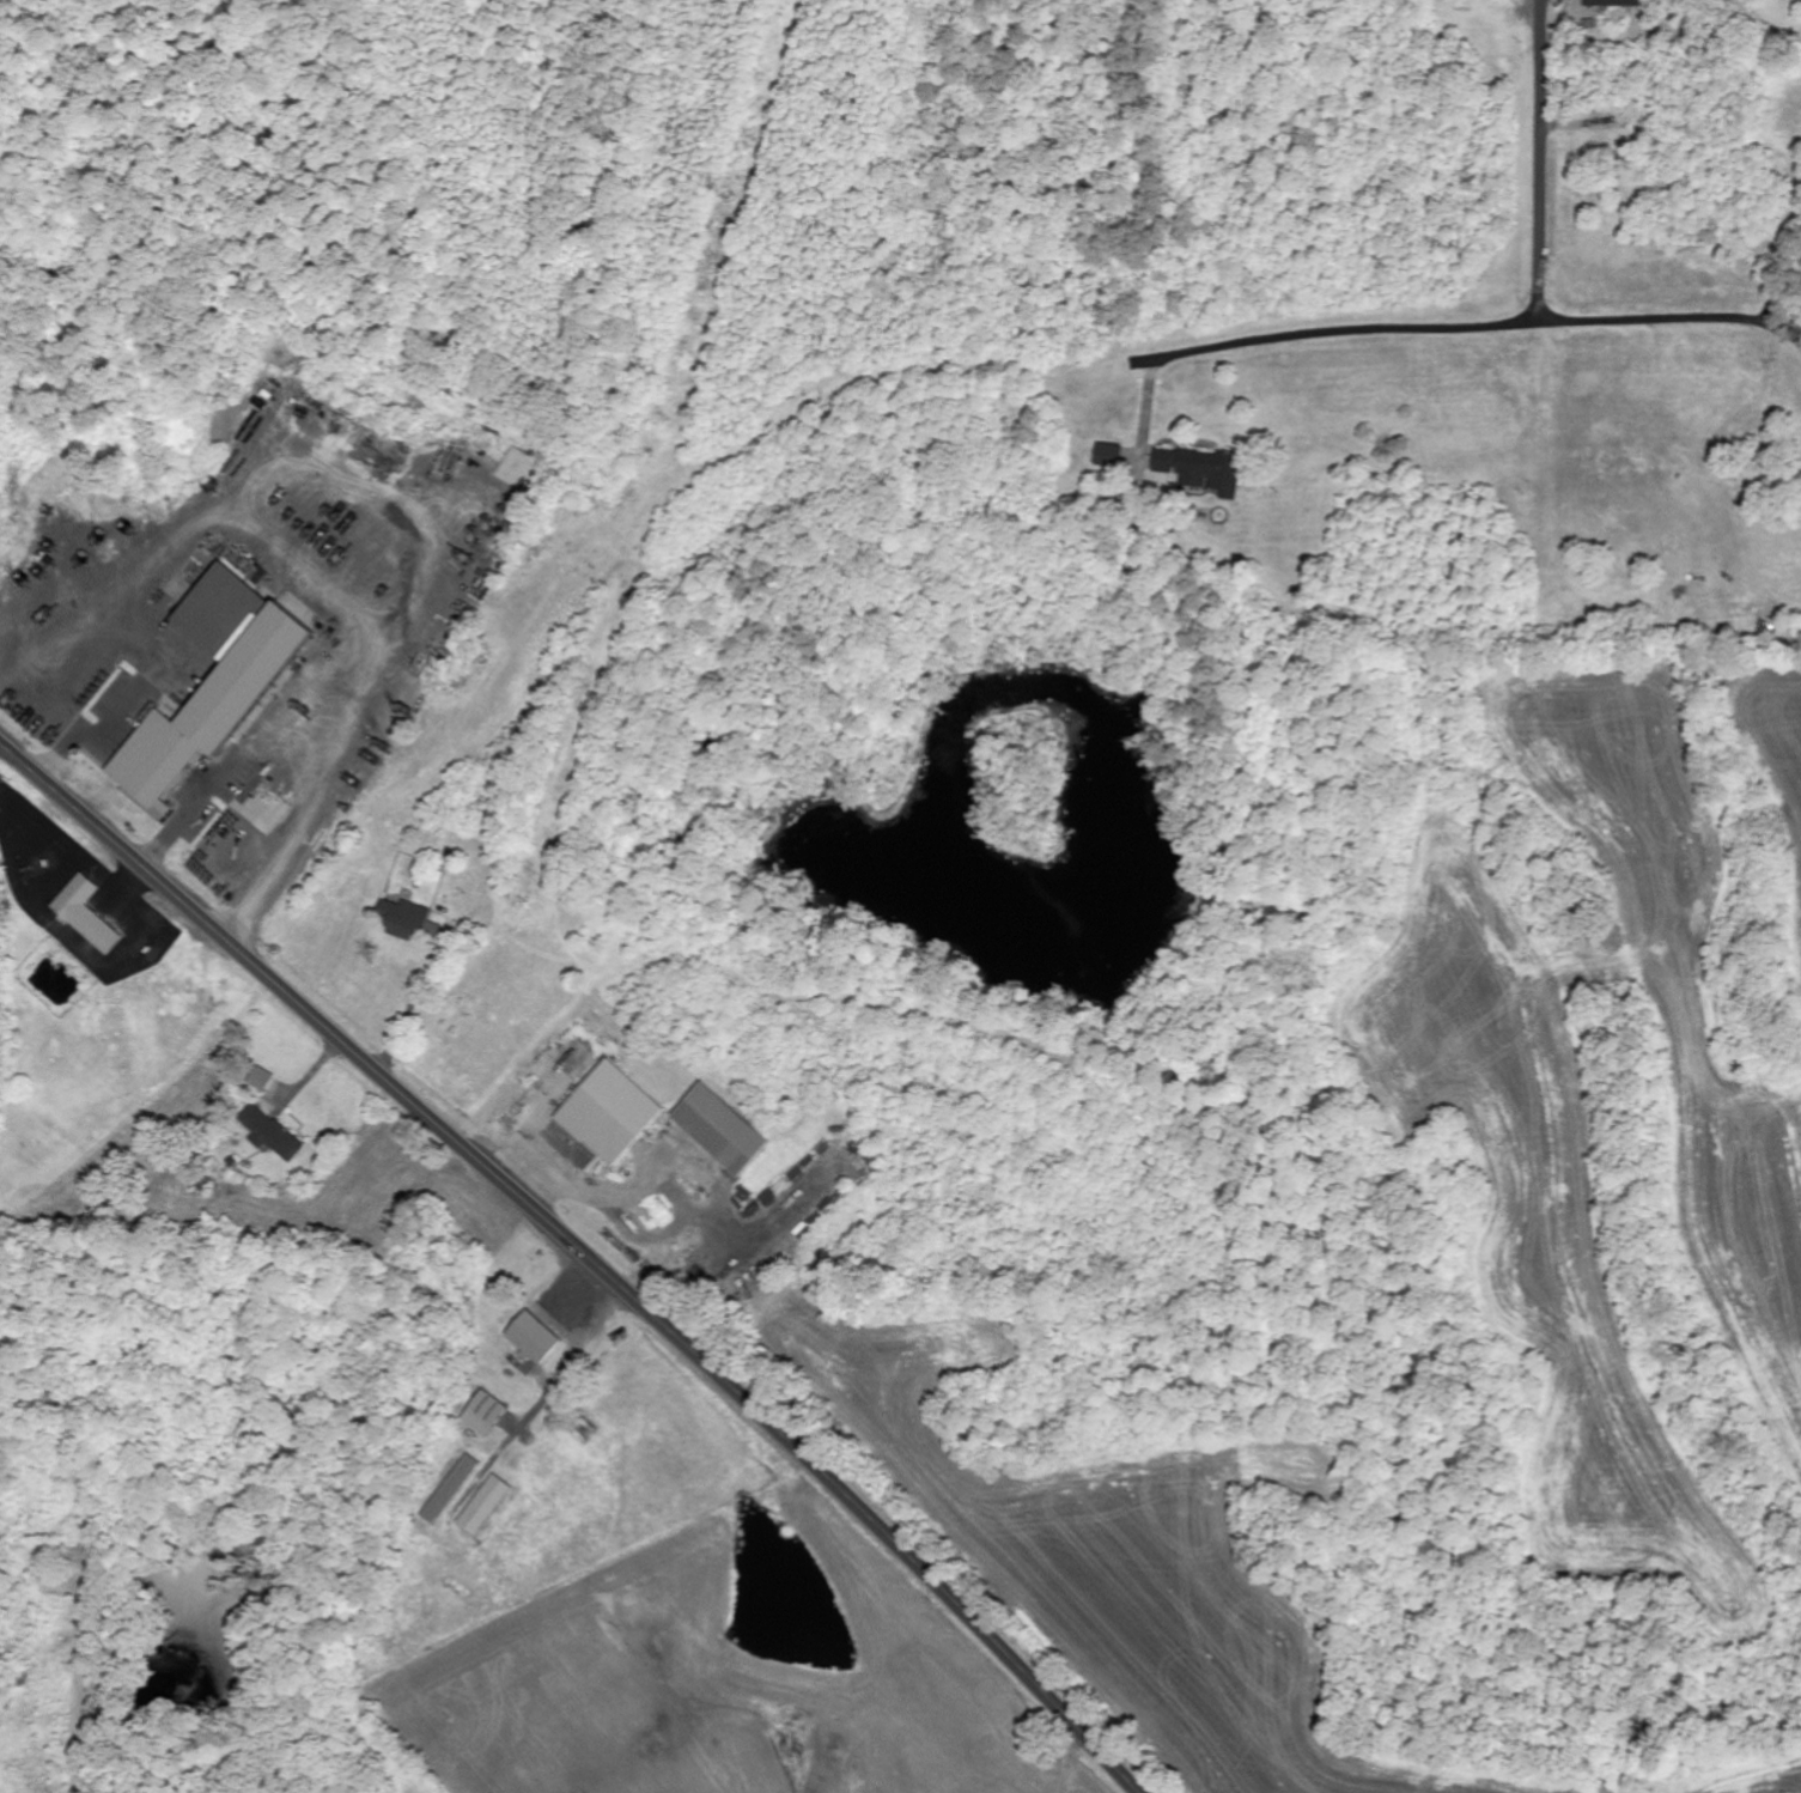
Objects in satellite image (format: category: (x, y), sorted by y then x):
building: (1613, 2)
road: (1543, 153)
road: (1644, 272)
building: (1108, 455)
building: (1209, 473)
building: (86, 914)
building: (404, 919)
road: (492, 923)
building: (260, 1080)
building: (610, 1113)
building: (720, 1130)
building: (270, 1133)
road: (585, 1250)
building: (533, 1338)
building: (485, 1414)
building: (451, 1489)
building: (485, 1506)

